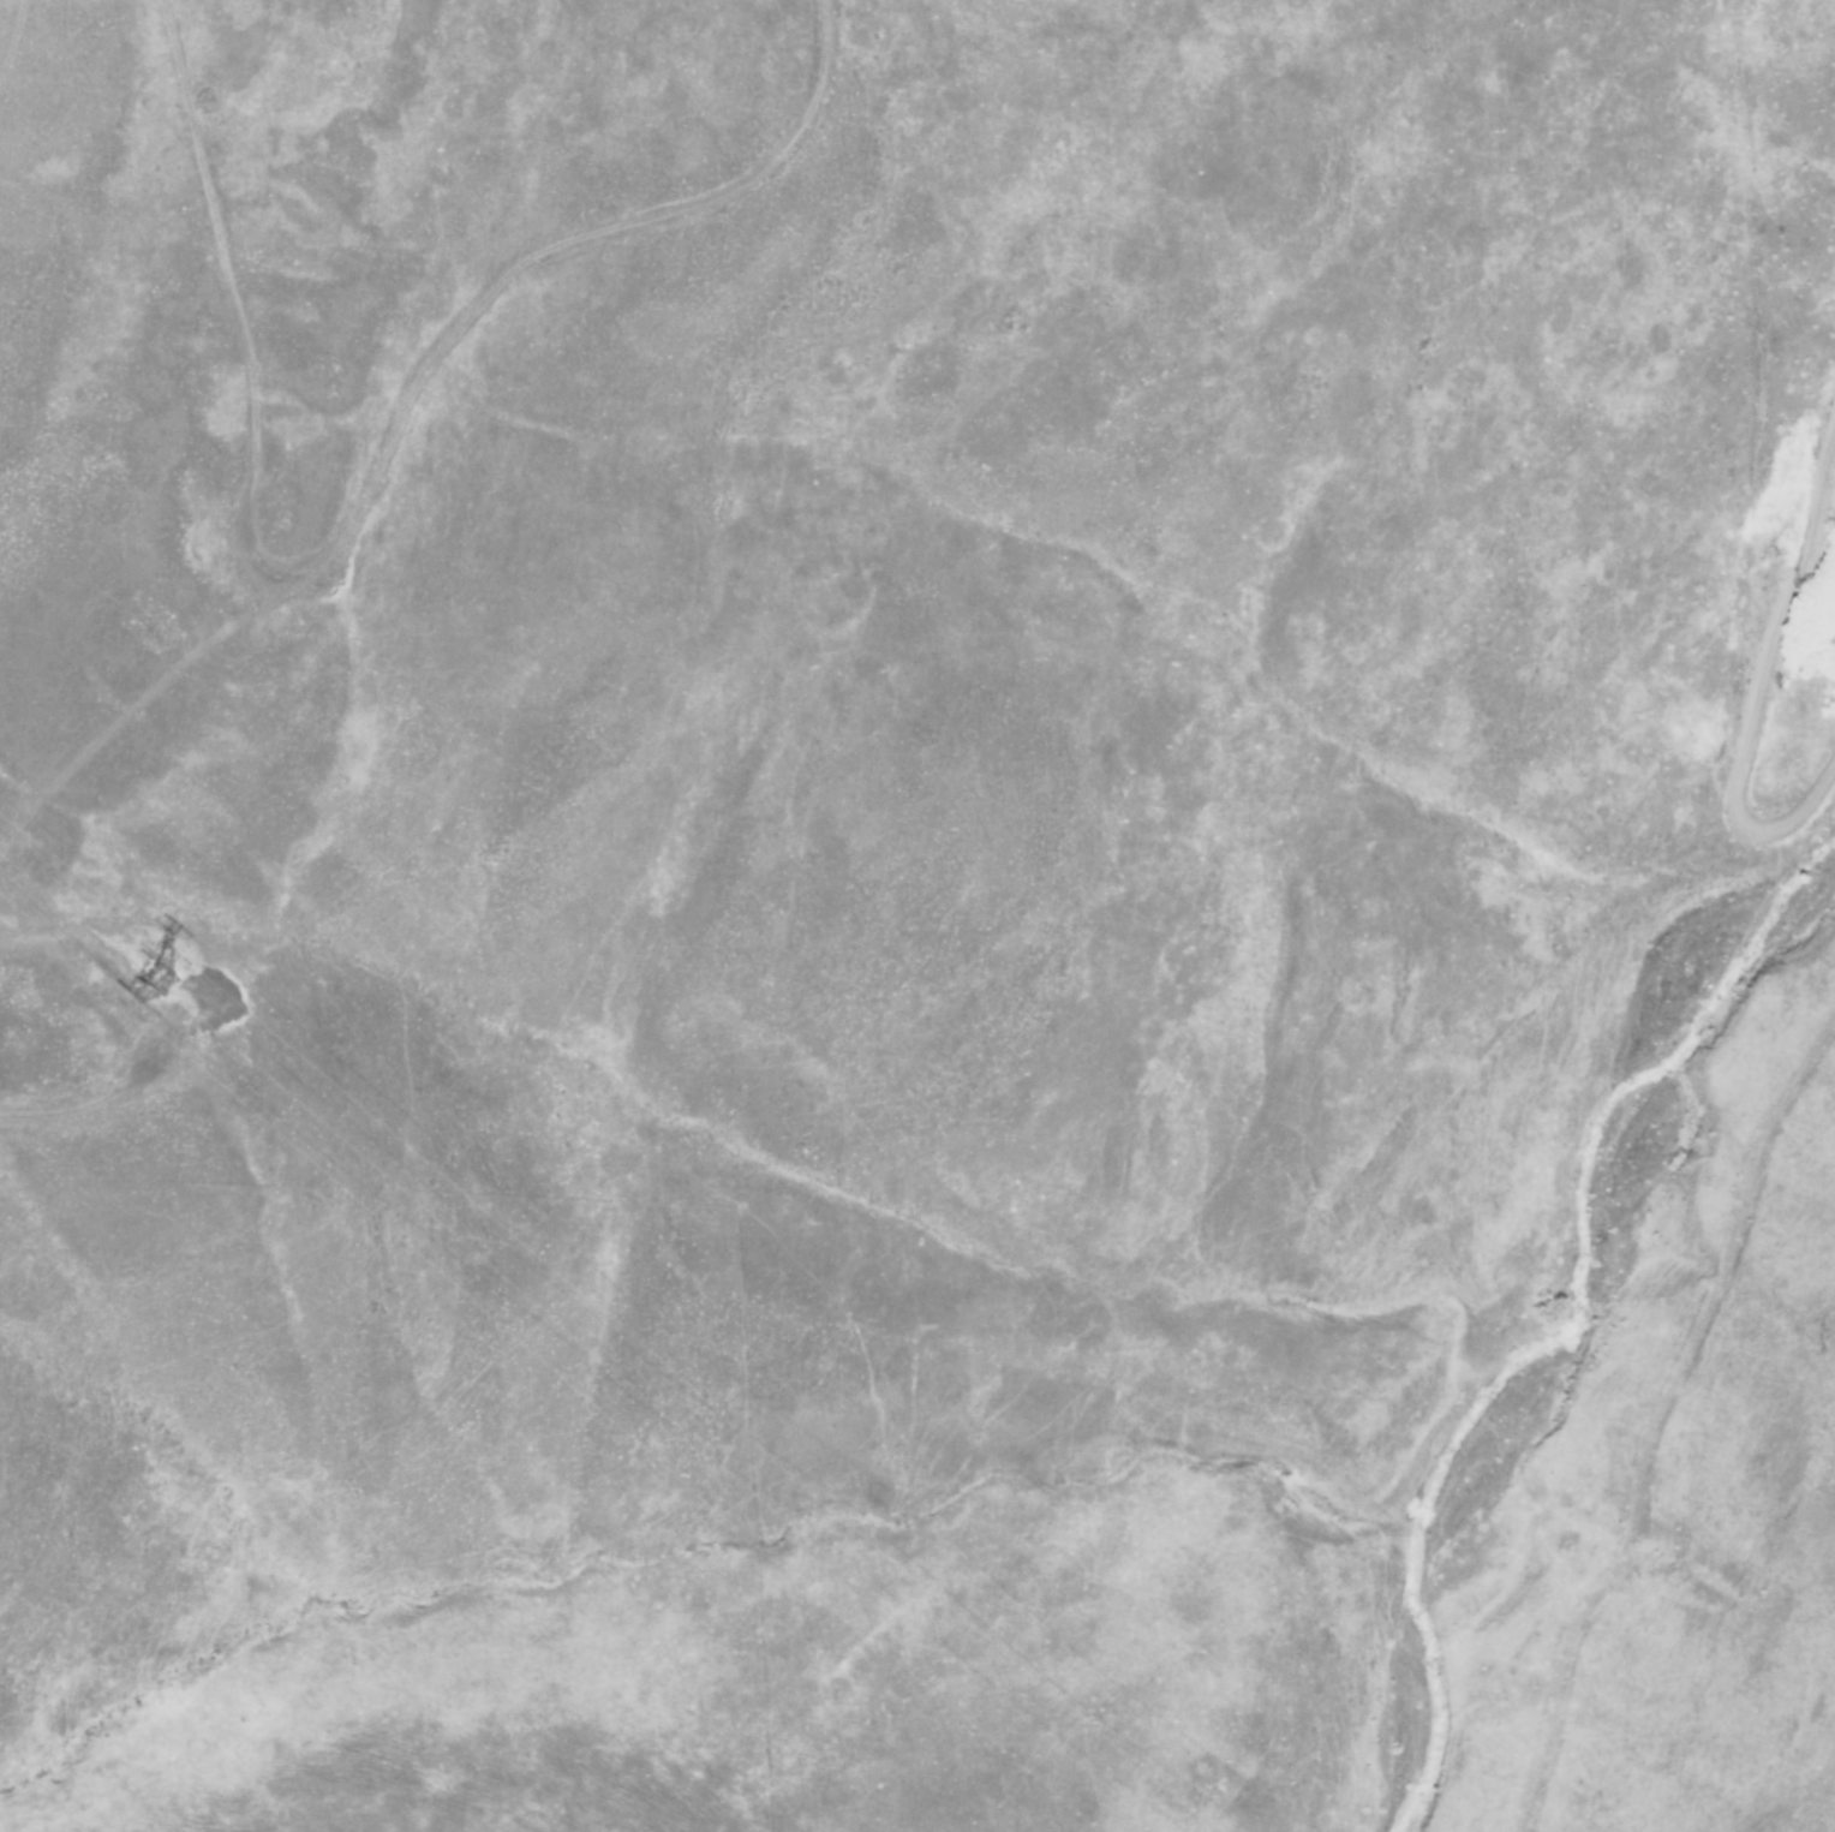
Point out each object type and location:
road: (1763, 688)
power tower: (183, 1030)

